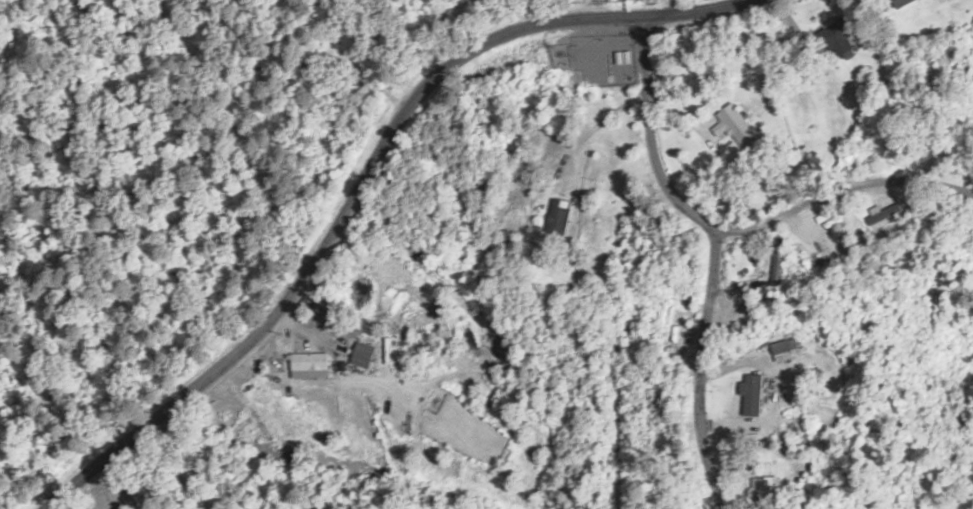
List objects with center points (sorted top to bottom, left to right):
road: (330, 23)
building: (840, 35)
building: (736, 128)
building: (926, 159)
road: (340, 210)
road: (734, 213)
building: (560, 216)
building: (778, 261)
building: (676, 328)
building: (783, 346)
building: (400, 359)
building: (311, 363)
road: (701, 369)
building: (342, 371)
building: (749, 399)
building: (763, 488)

